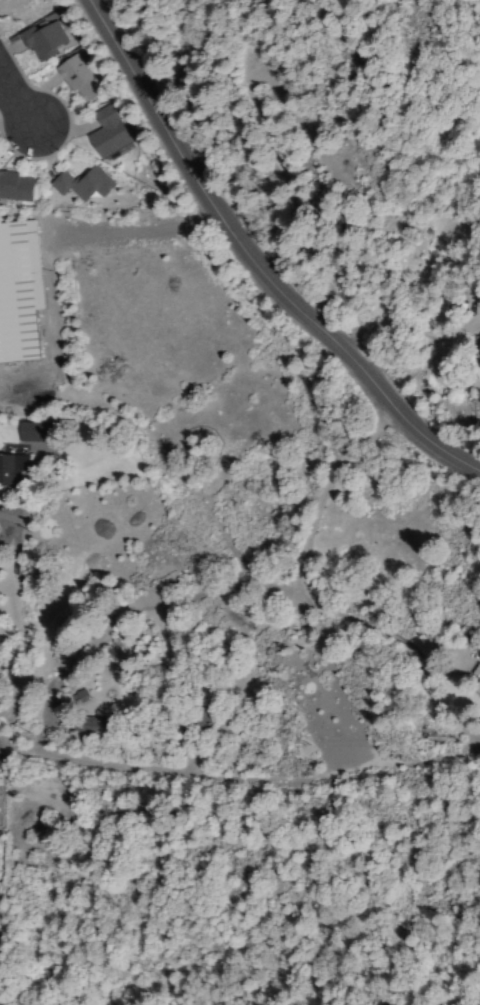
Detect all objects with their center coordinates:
building: (37, 42)
building: (71, 80)
road: (16, 102)
building: (101, 132)
building: (78, 185)
building: (14, 186)
road: (251, 264)
building: (19, 297)
building: (477, 348)
building: (33, 432)
building: (11, 470)
road: (240, 778)

